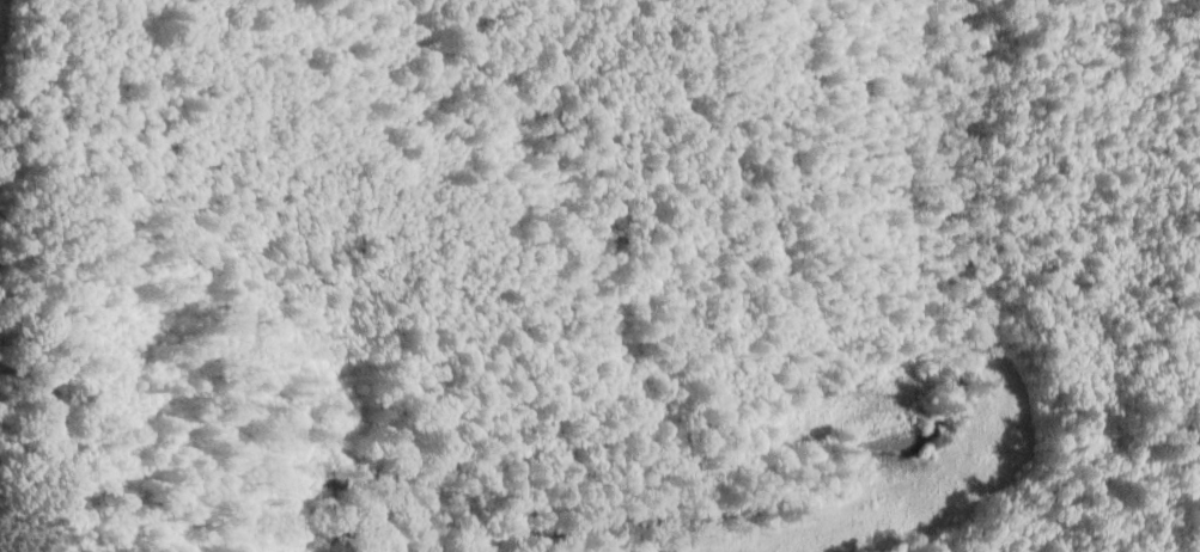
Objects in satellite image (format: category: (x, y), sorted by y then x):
river: (808, 483)

